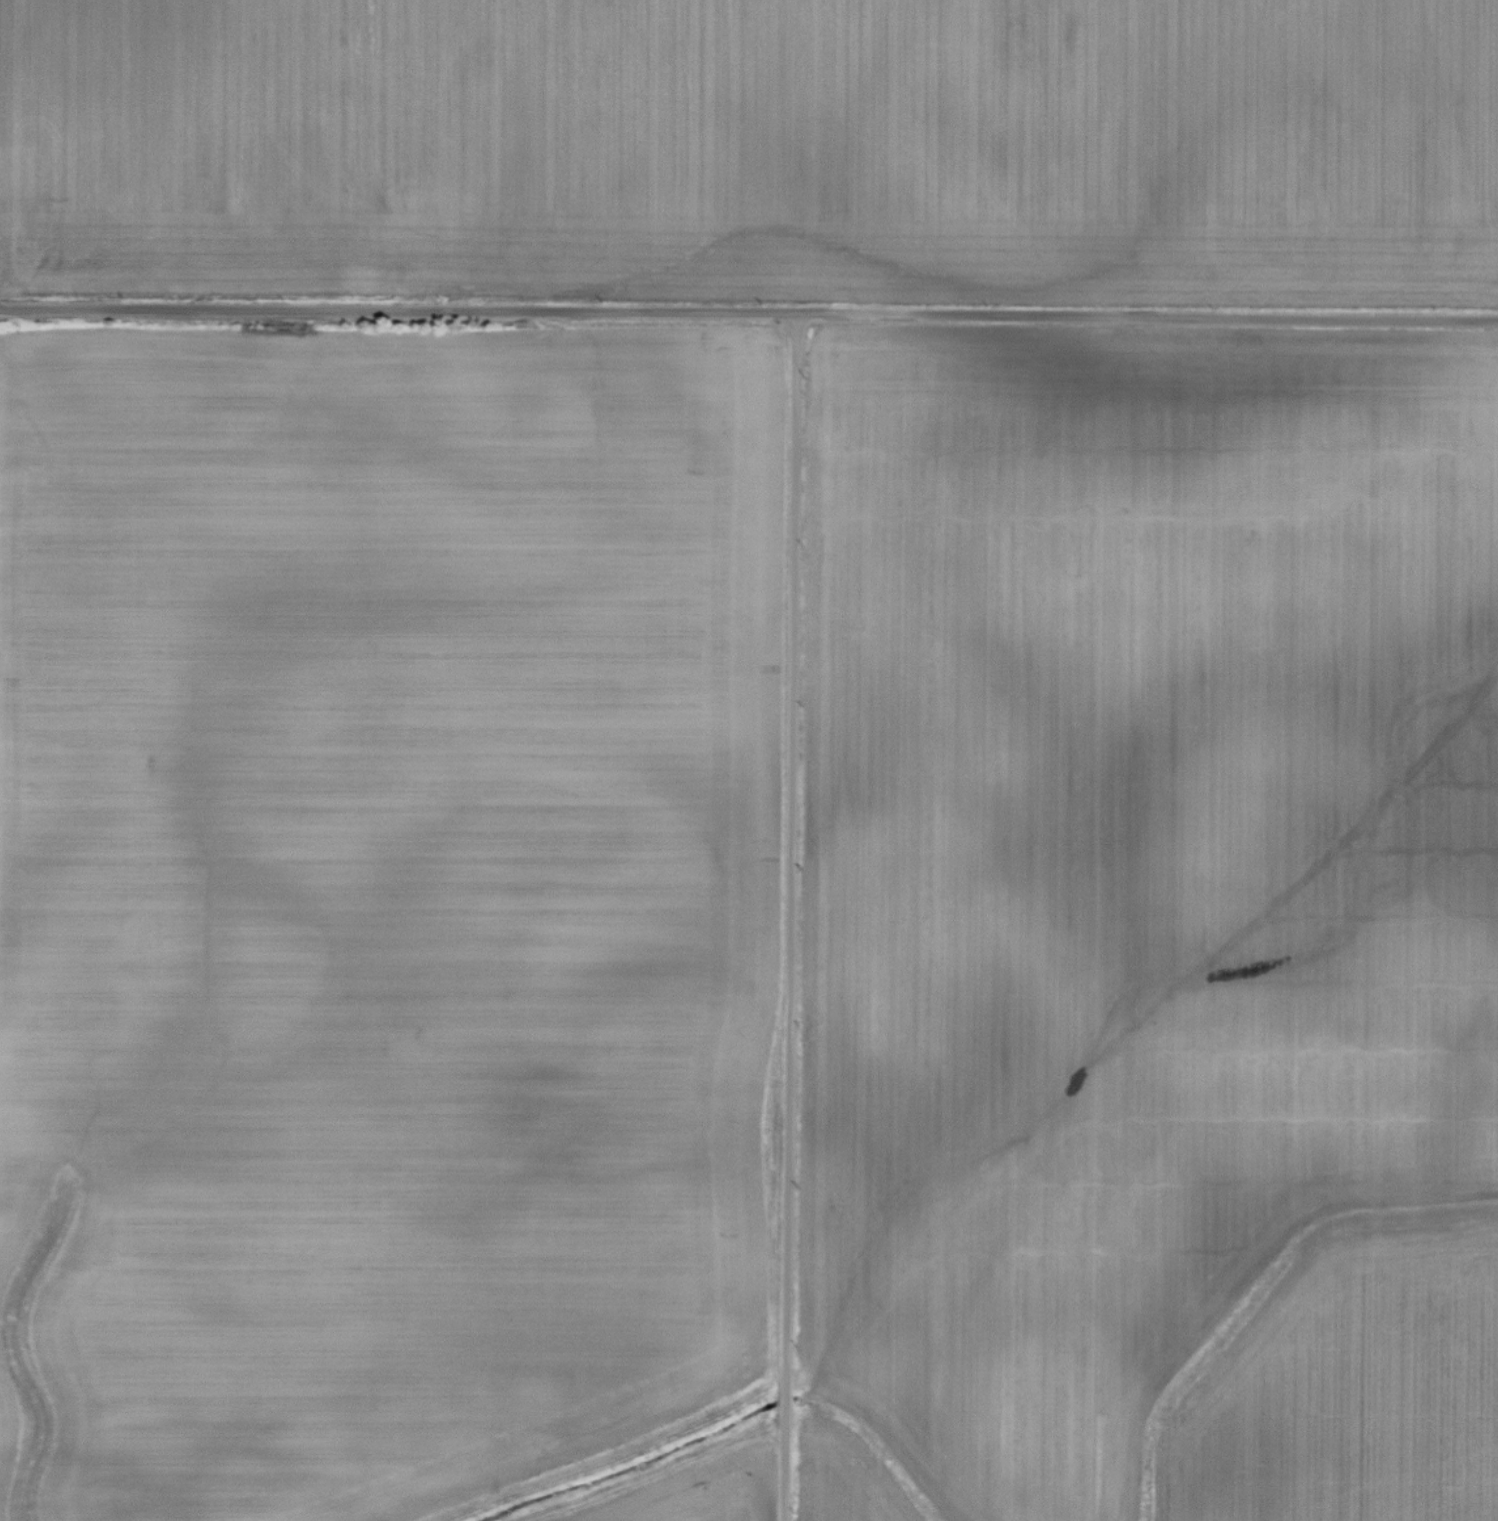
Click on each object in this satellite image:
road: (749, 312)
road: (791, 916)

